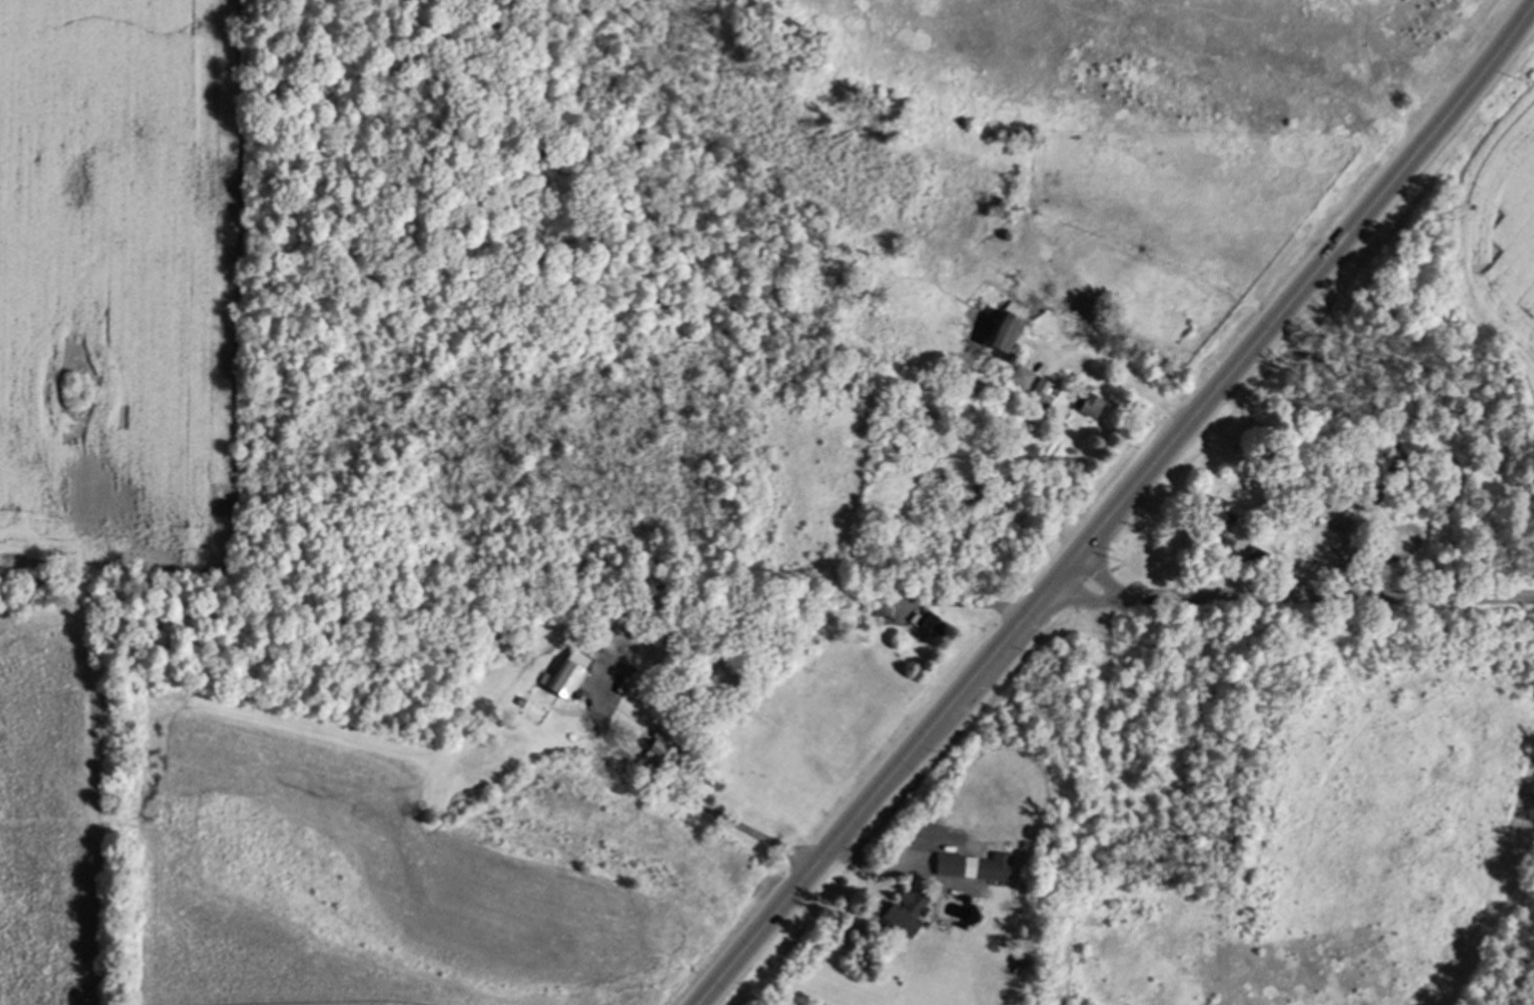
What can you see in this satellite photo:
crop: (119, 282)
building: (1003, 330)
building: (1020, 375)
building: (1044, 387)
building: (1091, 405)
road: (1118, 506)
building: (1217, 511)
building: (1223, 544)
road: (1105, 580)
road: (1336, 598)
road: (1093, 599)
building: (880, 608)
building: (926, 622)
building: (565, 673)
building: (661, 746)
road: (696, 798)
building: (972, 865)
road: (884, 871)
building: (905, 910)

